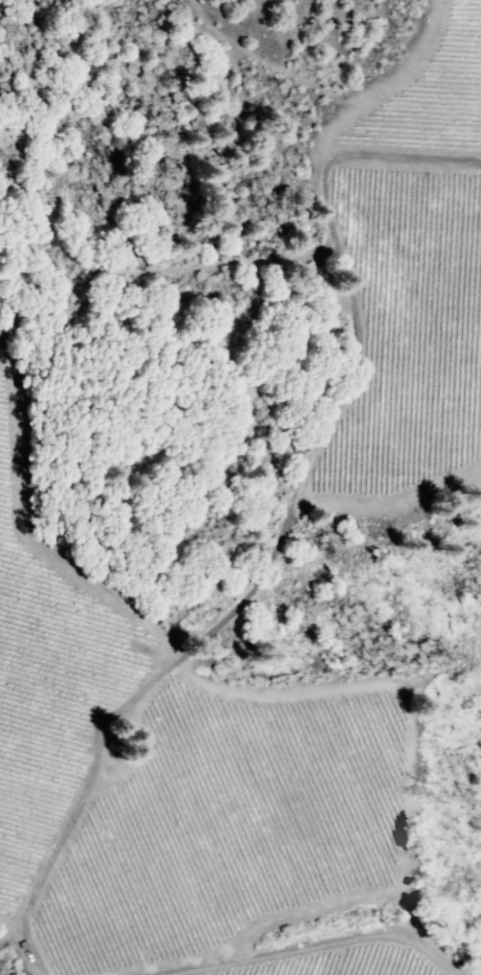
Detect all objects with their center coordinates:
road: (413, 104)

